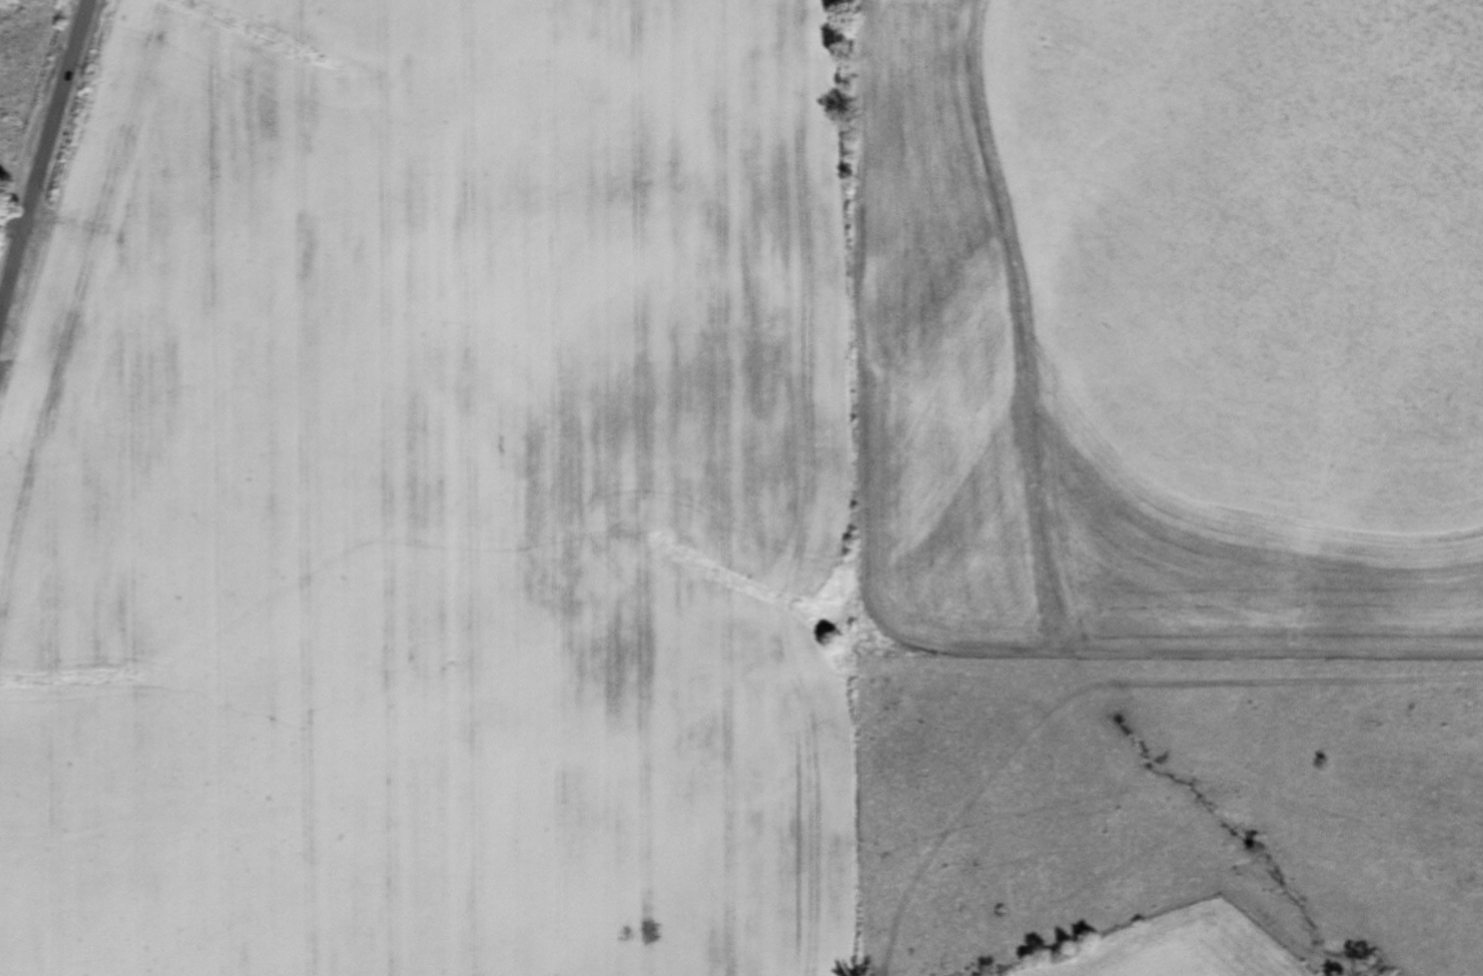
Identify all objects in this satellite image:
road: (44, 152)

